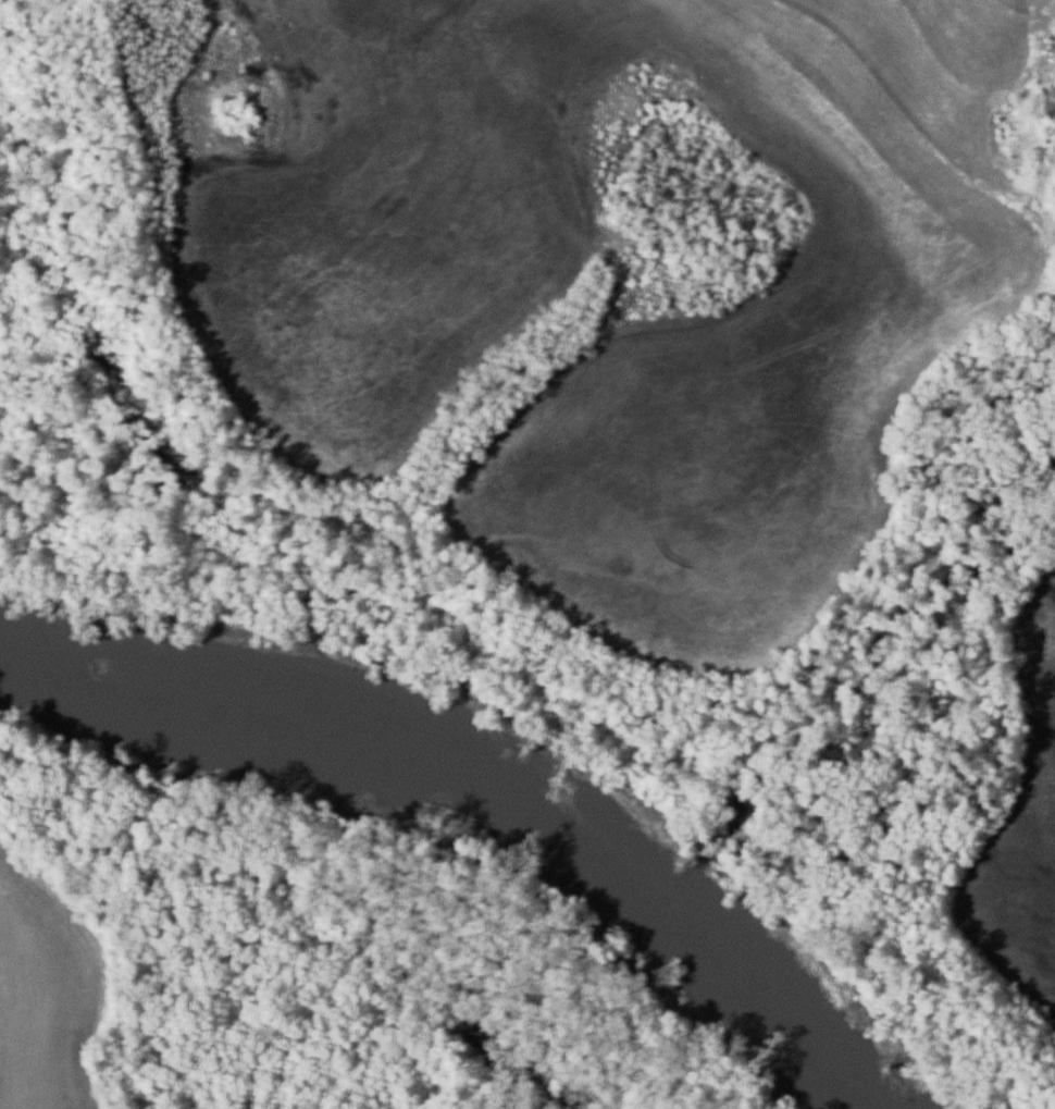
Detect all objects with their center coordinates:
river: (480, 779)

